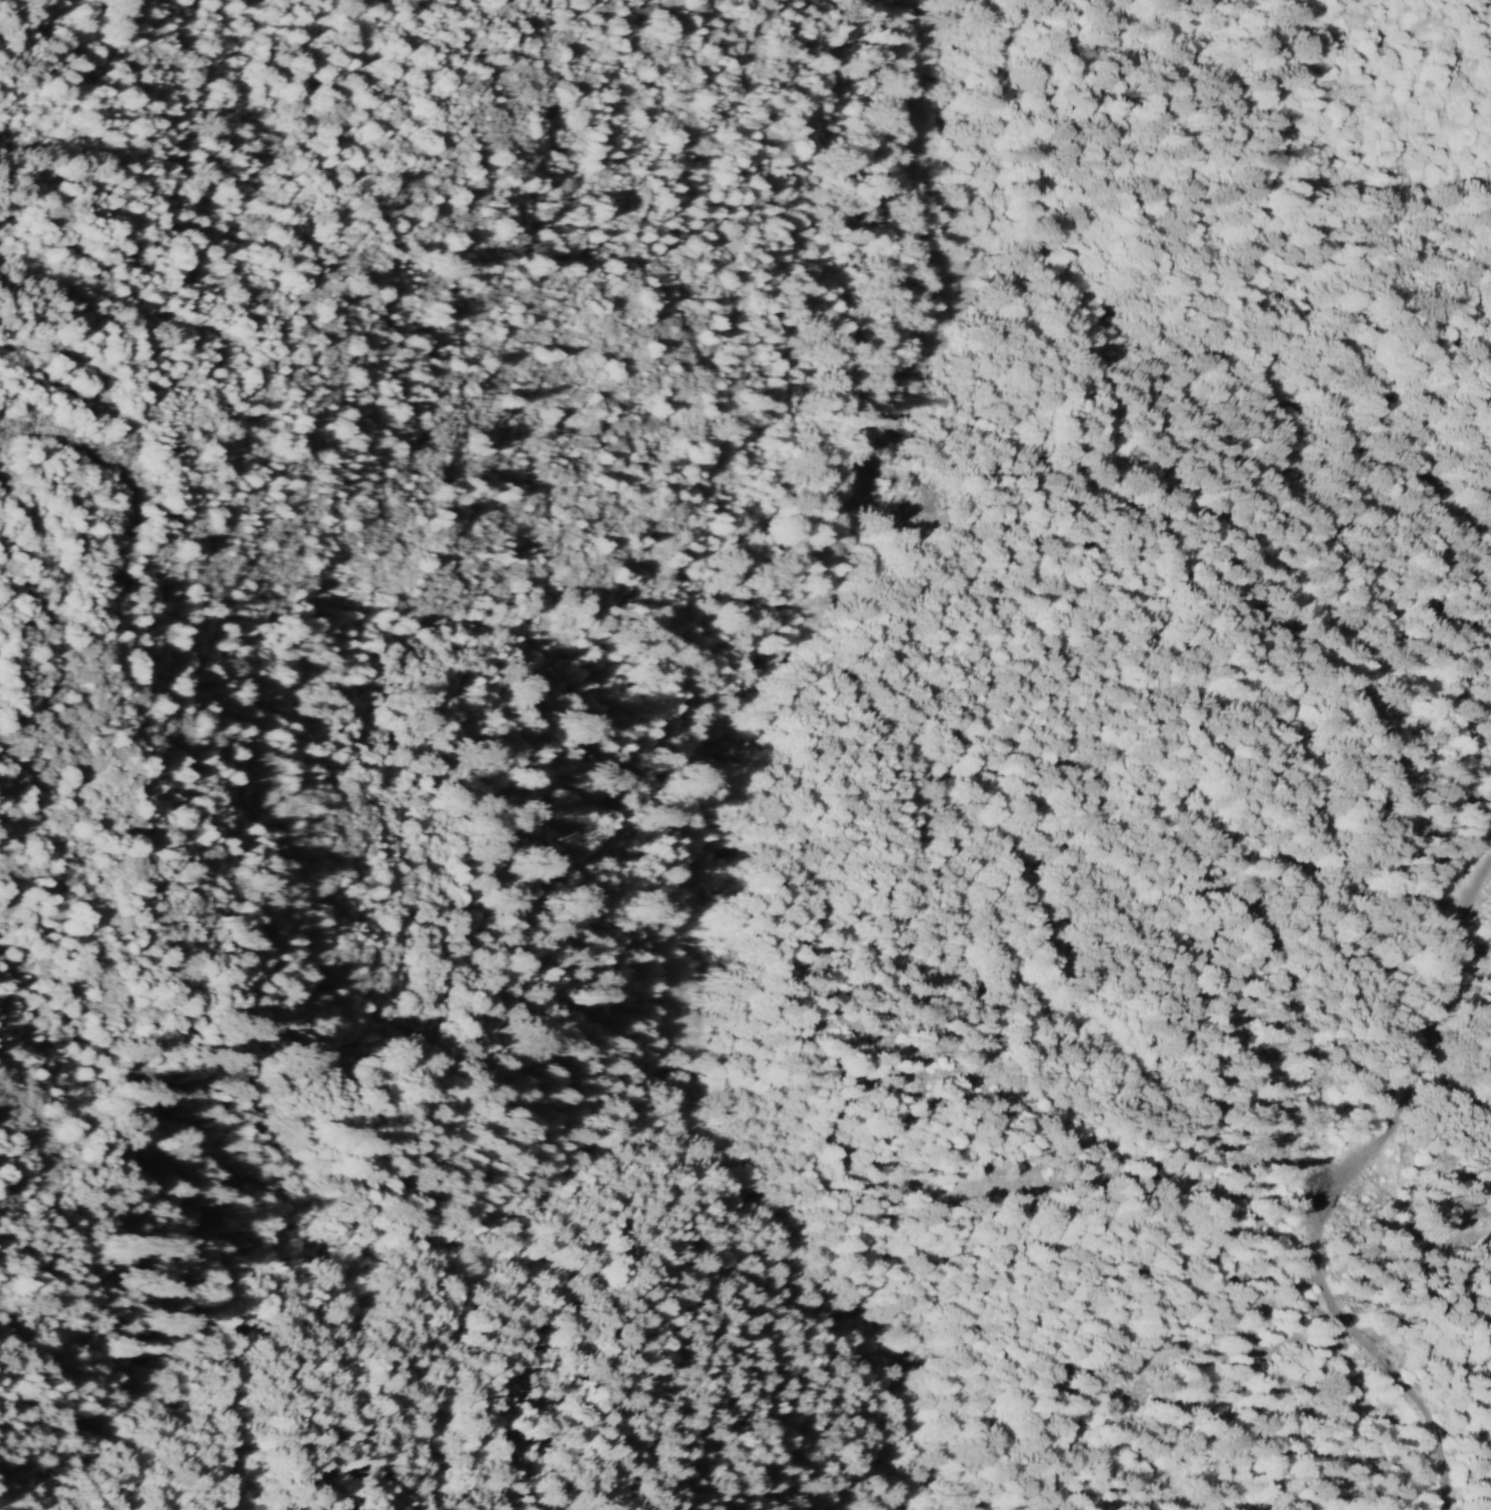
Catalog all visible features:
road: (1452, 1019)

